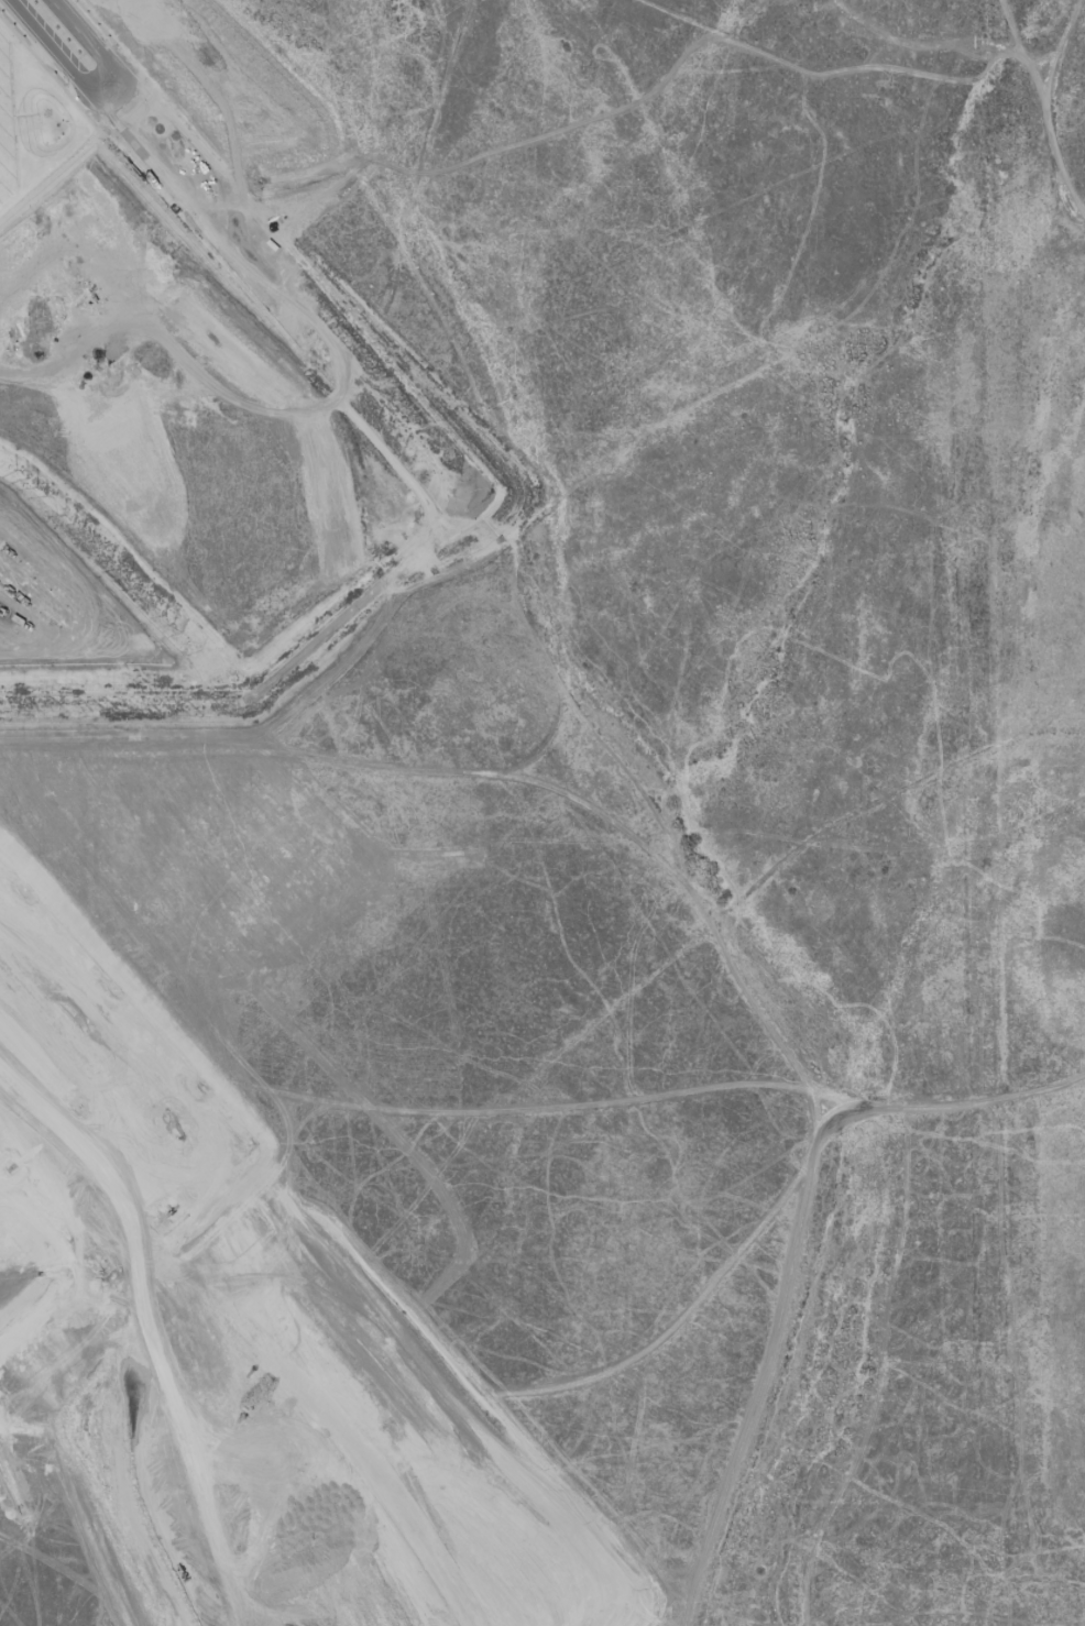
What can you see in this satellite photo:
road: (1053, 43)
road: (85, 48)
road: (923, 48)
road: (52, 59)
road: (1040, 117)
road: (506, 179)
road: (928, 206)
road: (375, 266)
road: (385, 284)
road: (511, 446)
road: (755, 963)
road: (687, 1001)
road: (588, 1072)
road: (500, 1075)
road: (945, 1107)
road: (781, 1201)
road: (174, 1261)
road: (710, 1277)
road: (761, 1311)
road: (770, 1360)
road: (15, 1432)
road: (56, 1568)
road: (895, 1596)
road: (987, 1602)
road: (14, 1606)

